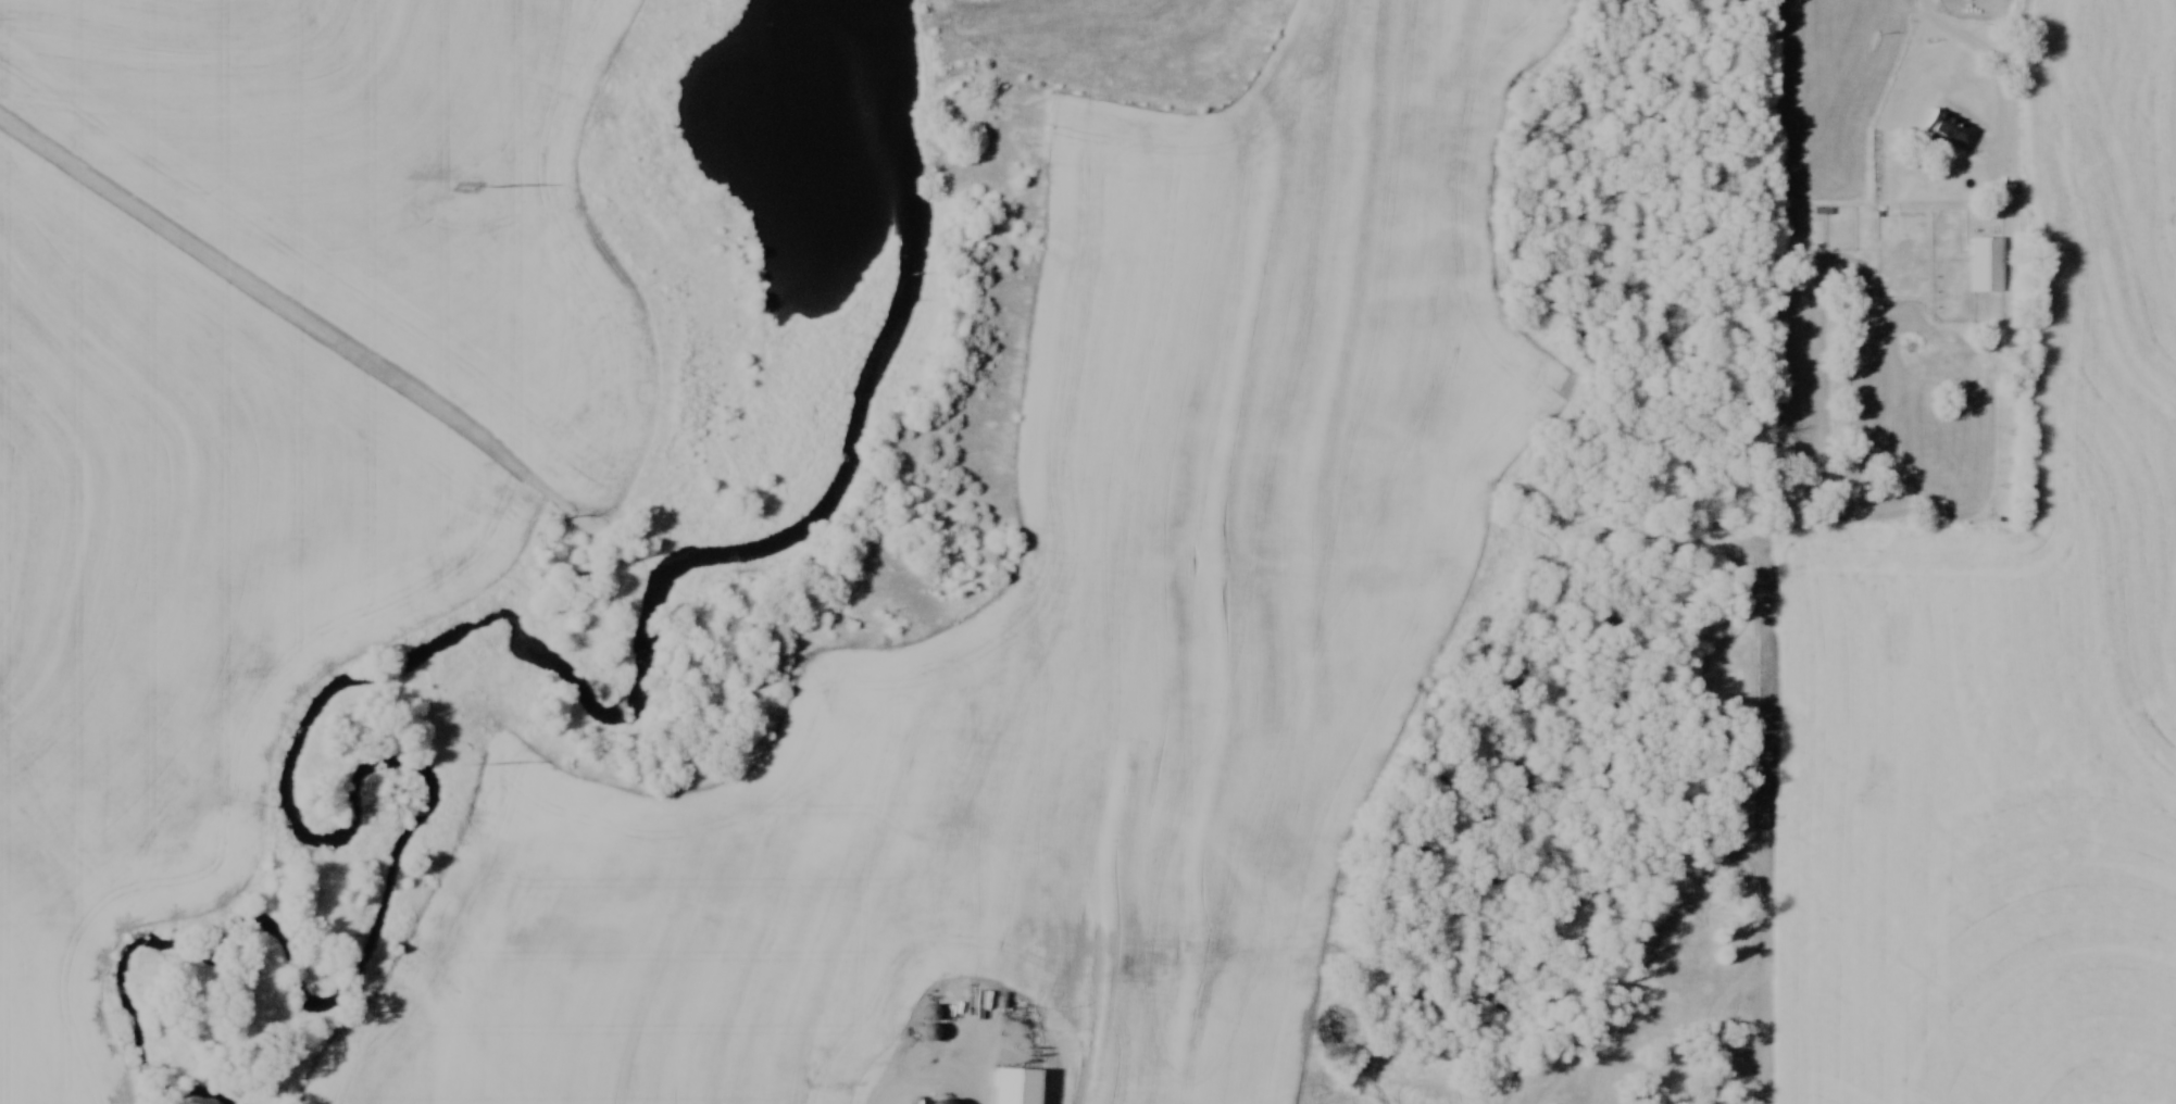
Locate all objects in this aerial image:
road: (1991, 62)
building: (1951, 128)
power tower: (471, 188)
building: (1987, 264)
power tower: (474, 768)
building: (929, 1034)
road: (930, 1076)
building: (945, 1103)

